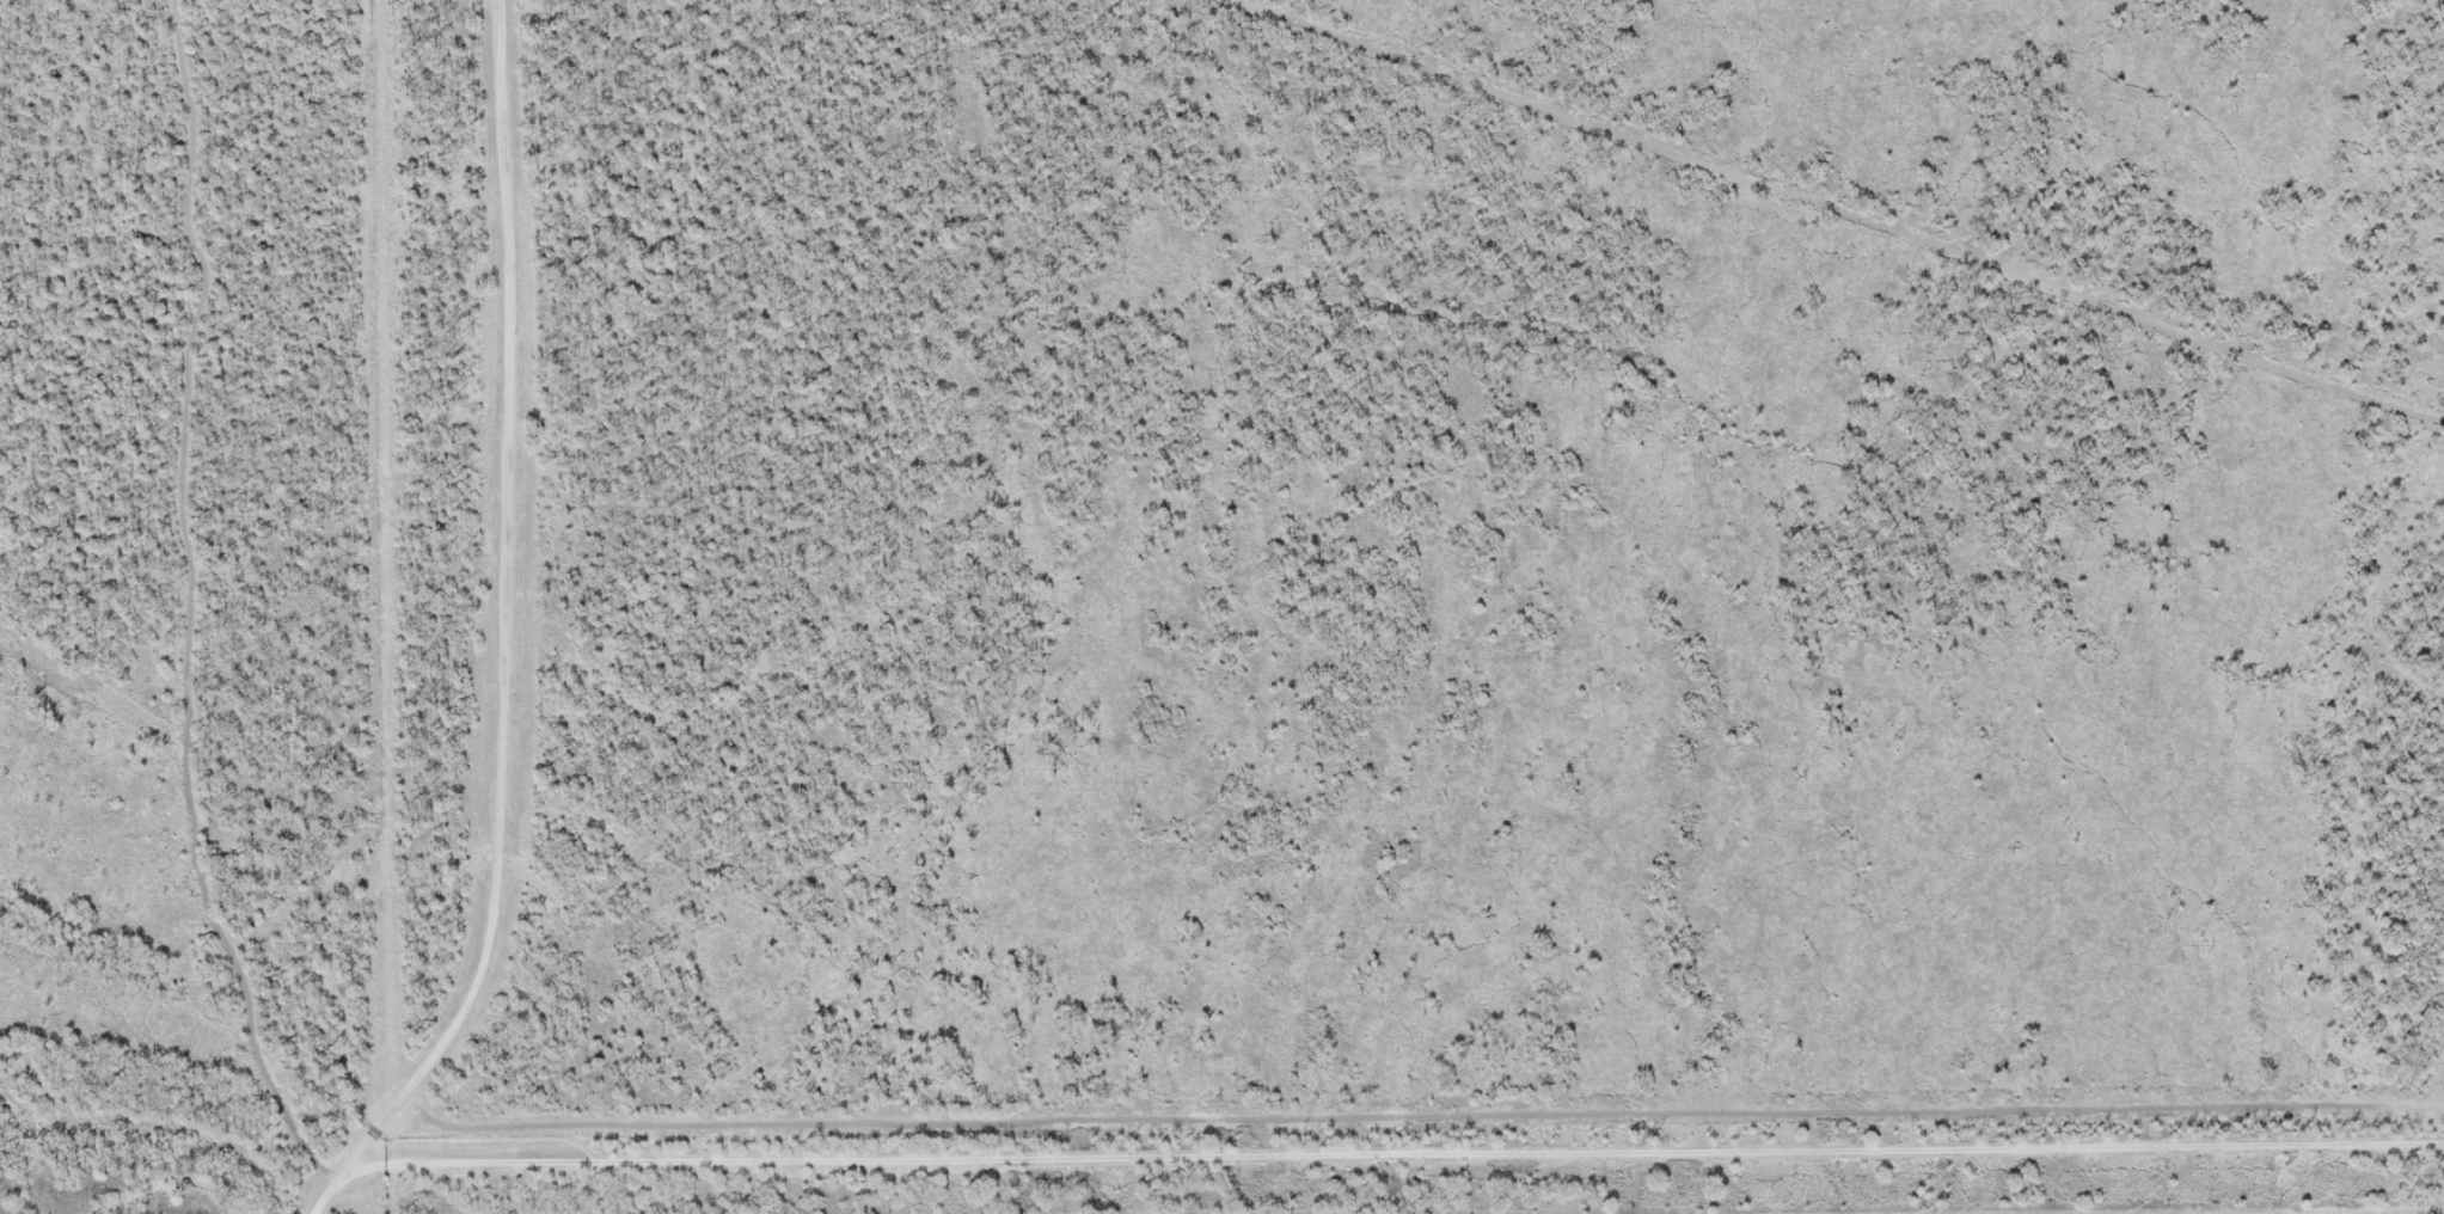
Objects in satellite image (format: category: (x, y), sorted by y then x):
road: (502, 634)

